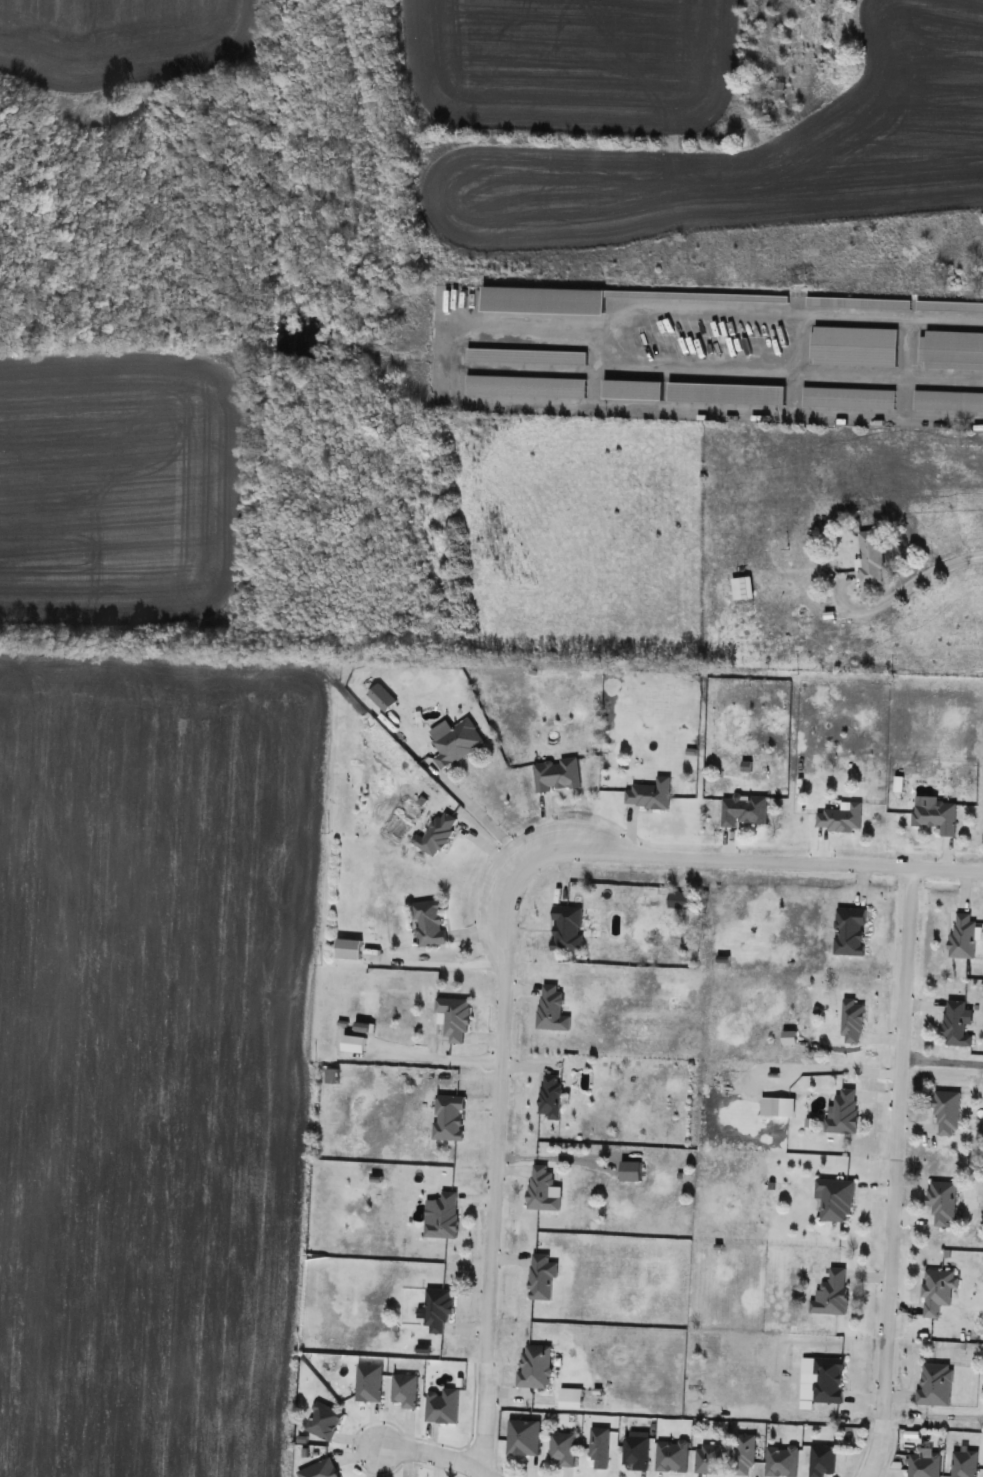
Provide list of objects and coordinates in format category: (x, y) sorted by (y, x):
building: (771, 88)
building: (543, 300)
building: (856, 303)
building: (948, 306)
road: (599, 335)
building: (853, 346)
building: (952, 349)
building: (848, 397)
building: (948, 401)
building: (870, 556)
road: (908, 584)
building: (741, 588)
building: (380, 697)
building: (455, 742)
building: (556, 774)
building: (648, 793)
building: (743, 808)
building: (935, 815)
building: (839, 817)
road: (482, 822)
building: (435, 833)
road: (756, 859)
building: (680, 899)
building: (428, 922)
building: (567, 928)
building: (849, 931)
building: (962, 935)
building: (348, 948)
building: (551, 1008)
building: (454, 1018)
building: (852, 1021)
building: (956, 1023)
road: (942, 1055)
building: (330, 1075)
building: (549, 1095)
building: (842, 1111)
building: (946, 1112)
building: (448, 1117)
road: (492, 1167)
road: (895, 1173)
building: (542, 1188)
building: (834, 1198)
building: (942, 1202)
building: (443, 1216)
building: (540, 1276)
building: (937, 1290)
building: (830, 1293)
building: (436, 1308)
building: (533, 1366)
building: (825, 1381)
building: (368, 1382)
building: (935, 1384)
building: (403, 1390)
building: (442, 1406)
road: (934, 1413)
building: (323, 1421)
building: (522, 1436)
building: (562, 1447)
building: (599, 1447)
building: (635, 1449)
road: (436, 1455)
building: (671, 1455)
building: (744, 1455)
building: (708, 1458)
building: (821, 1459)
building: (781, 1461)
building: (924, 1463)
building: (963, 1463)
building: (319, 1469)

